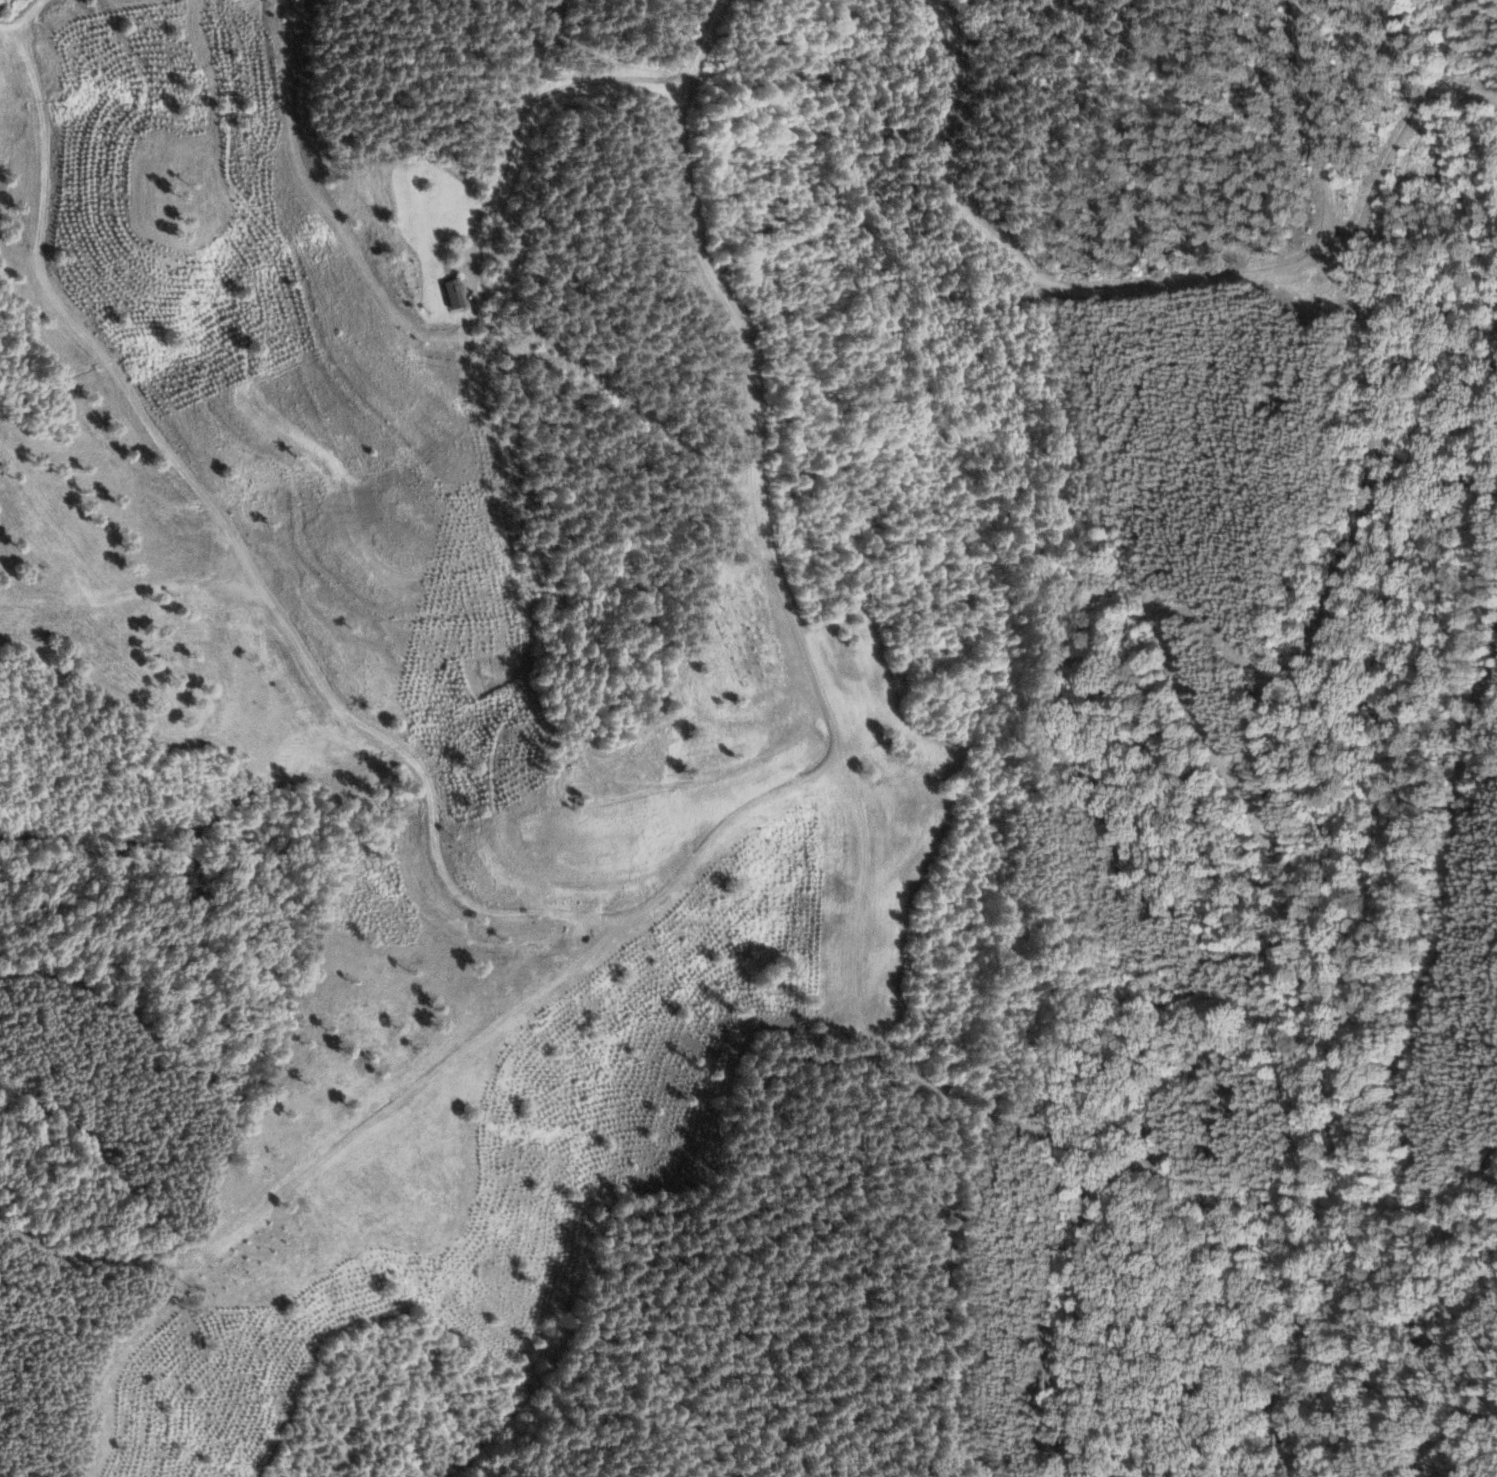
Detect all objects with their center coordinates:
road: (543, 93)
building: (444, 290)

